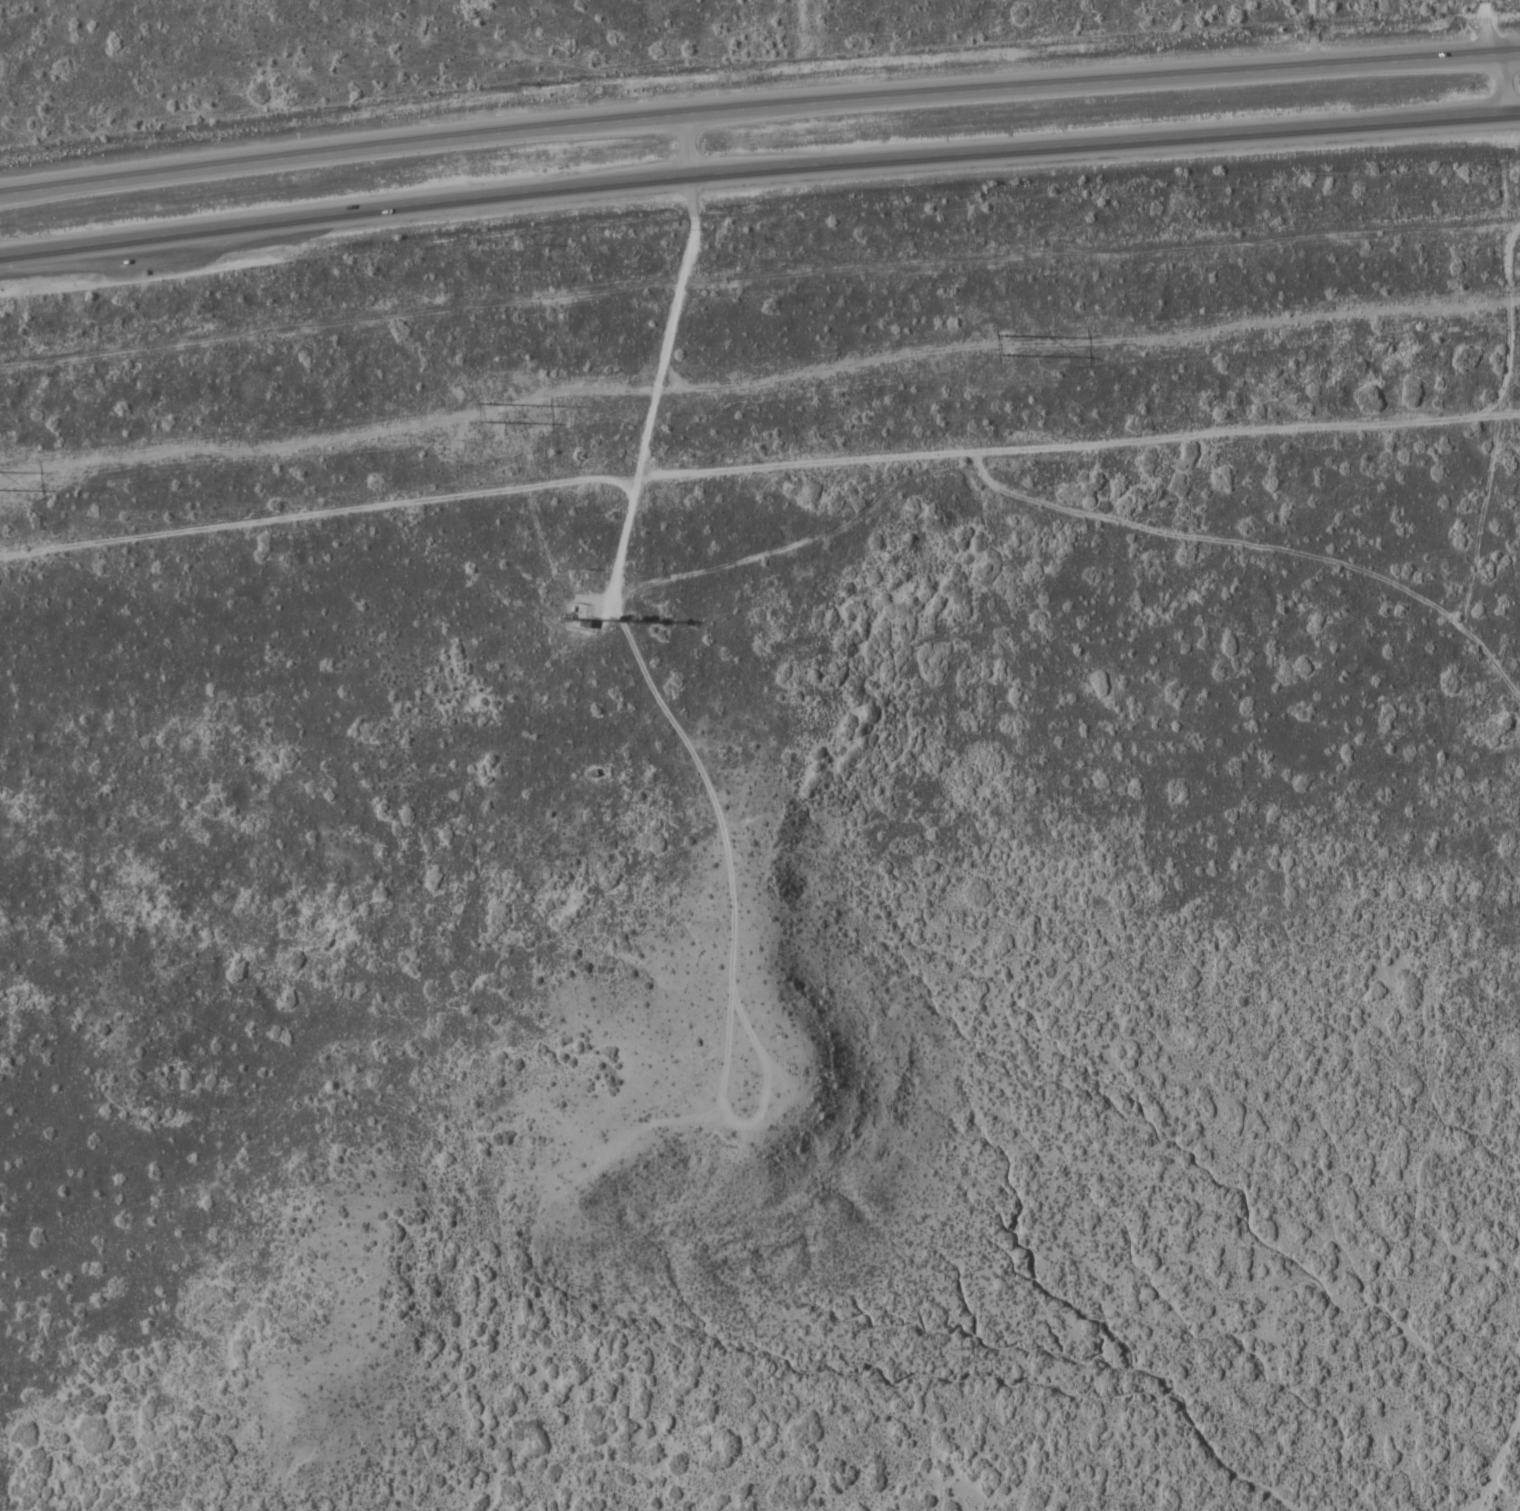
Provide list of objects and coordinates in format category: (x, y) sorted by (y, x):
road: (1495, 26)
road: (1505, 82)
road: (758, 104)
road: (758, 165)
power tower: (1009, 350)
power tower: (488, 411)
road: (1498, 412)
road: (659, 692)

